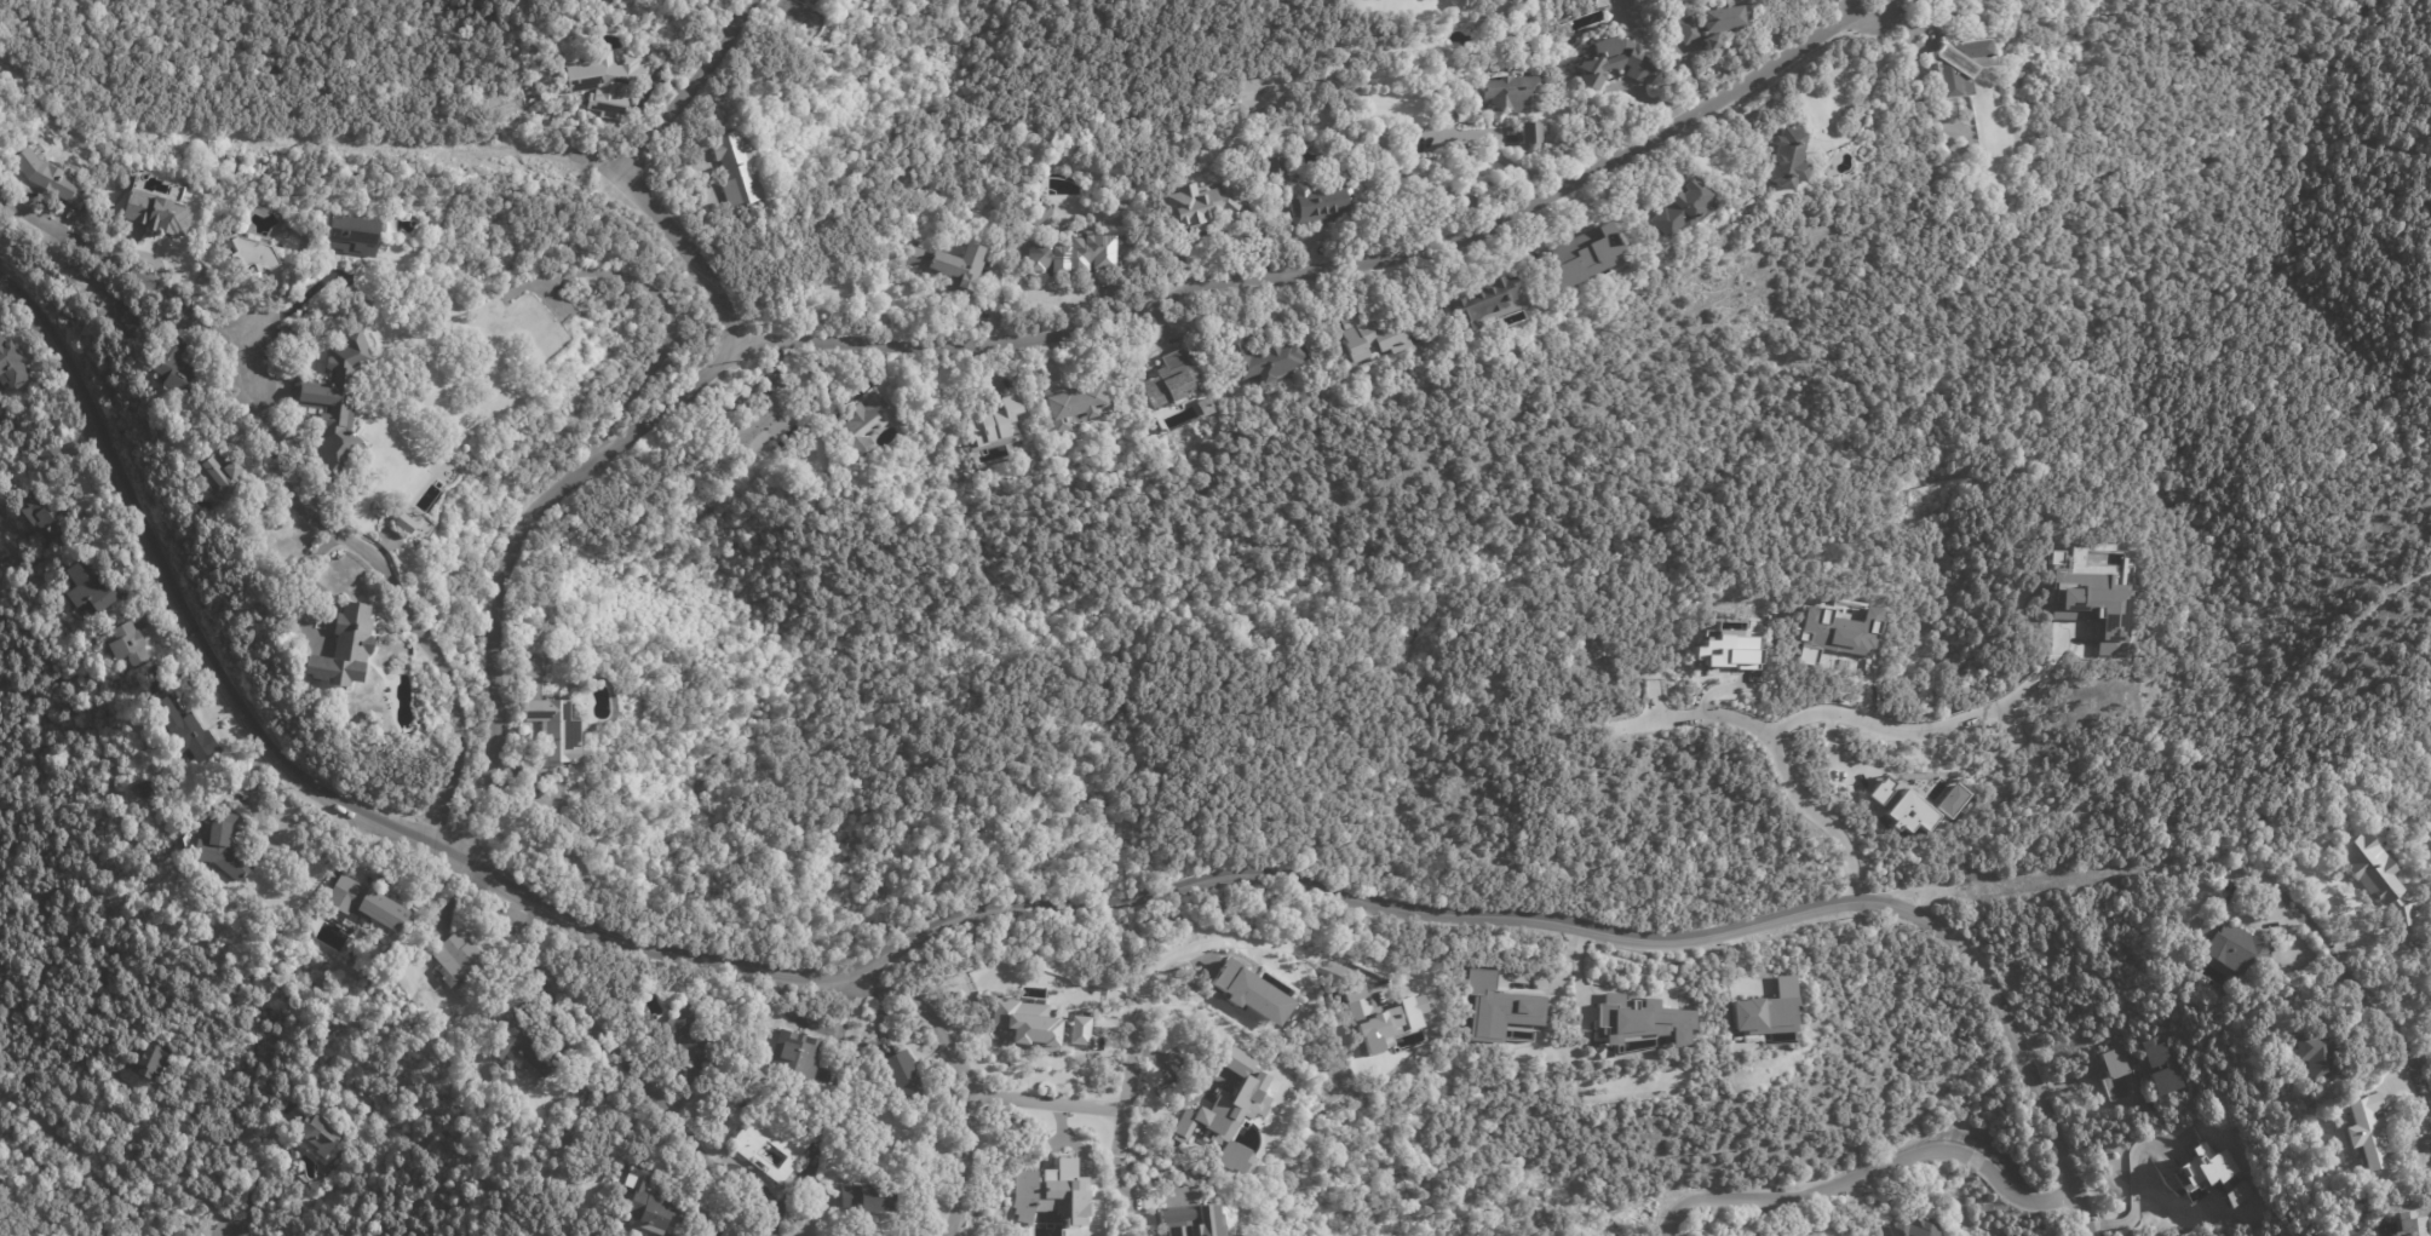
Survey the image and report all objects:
building: (812, 2)
building: (1712, 16)
building: (1677, 29)
building: (1702, 41)
building: (1607, 61)
building: (1959, 63)
building: (610, 84)
road: (685, 88)
building: (1263, 92)
building: (1506, 92)
road: (1861, 98)
road: (1395, 131)
building: (1528, 132)
road: (285, 140)
building: (1776, 159)
building: (730, 167)
building: (1272, 168)
building: (48, 177)
road: (1548, 191)
building: (1315, 203)
building: (1192, 205)
building: (1671, 206)
building: (159, 213)
building: (1044, 213)
building: (354, 236)
road: (677, 237)
building: (252, 249)
building: (1574, 254)
building: (1077, 255)
building: (955, 268)
building: (1473, 304)
road: (287, 306)
building: (303, 337)
building: (1367, 337)
building: (1464, 338)
road: (960, 344)
building: (1257, 357)
building: (12, 366)
building: (178, 369)
building: (1161, 380)
building: (334, 404)
building: (1080, 408)
building: (768, 424)
building: (867, 424)
building: (999, 424)
building: (50, 453)
building: (219, 470)
road: (277, 487)
building: (45, 517)
building: (407, 524)
road: (504, 553)
building: (92, 591)
building: (2098, 600)
building: (1831, 627)
building: (130, 643)
building: (347, 650)
building: (1735, 650)
building: (1806, 653)
road: (1725, 688)
road: (1916, 725)
building: (188, 729)
building: (558, 734)
road: (1780, 751)
road: (2195, 757)
building: (144, 788)
building: (1919, 804)
building: (223, 846)
road: (2114, 872)
building: (2375, 879)
road: (1921, 893)
road: (2226, 897)
building: (368, 902)
road: (976, 914)
road: (2255, 924)
road: (1217, 937)
building: (2230, 944)
building: (462, 961)
building: (1040, 979)
building: (1251, 993)
road: (2362, 993)
building: (2288, 996)
building: (1504, 1013)
building: (1772, 1014)
building: (1645, 1025)
building: (1079, 1030)
building: (695, 1039)
building: (529, 1041)
road: (1131, 1046)
building: (799, 1054)
building: (2312, 1056)
building: (153, 1059)
building: (2155, 1065)
road: (966, 1074)
building: (1282, 1076)
road: (650, 1080)
building: (904, 1080)
building: (1214, 1088)
building: (324, 1102)
road: (1047, 1104)
road: (2081, 1104)
building: (1228, 1111)
building: (2364, 1131)
building: (322, 1133)
building: (793, 1150)
building: (1069, 1155)
road: (1866, 1173)
building: (2214, 1173)
road: (253, 1174)
road: (1115, 1186)
road: (2136, 1191)
building: (1051, 1192)
building: (868, 1196)
building: (654, 1202)
building: (2406, 1217)
building: (1191, 1220)
building: (1910, 1228)
building: (386, 1232)

